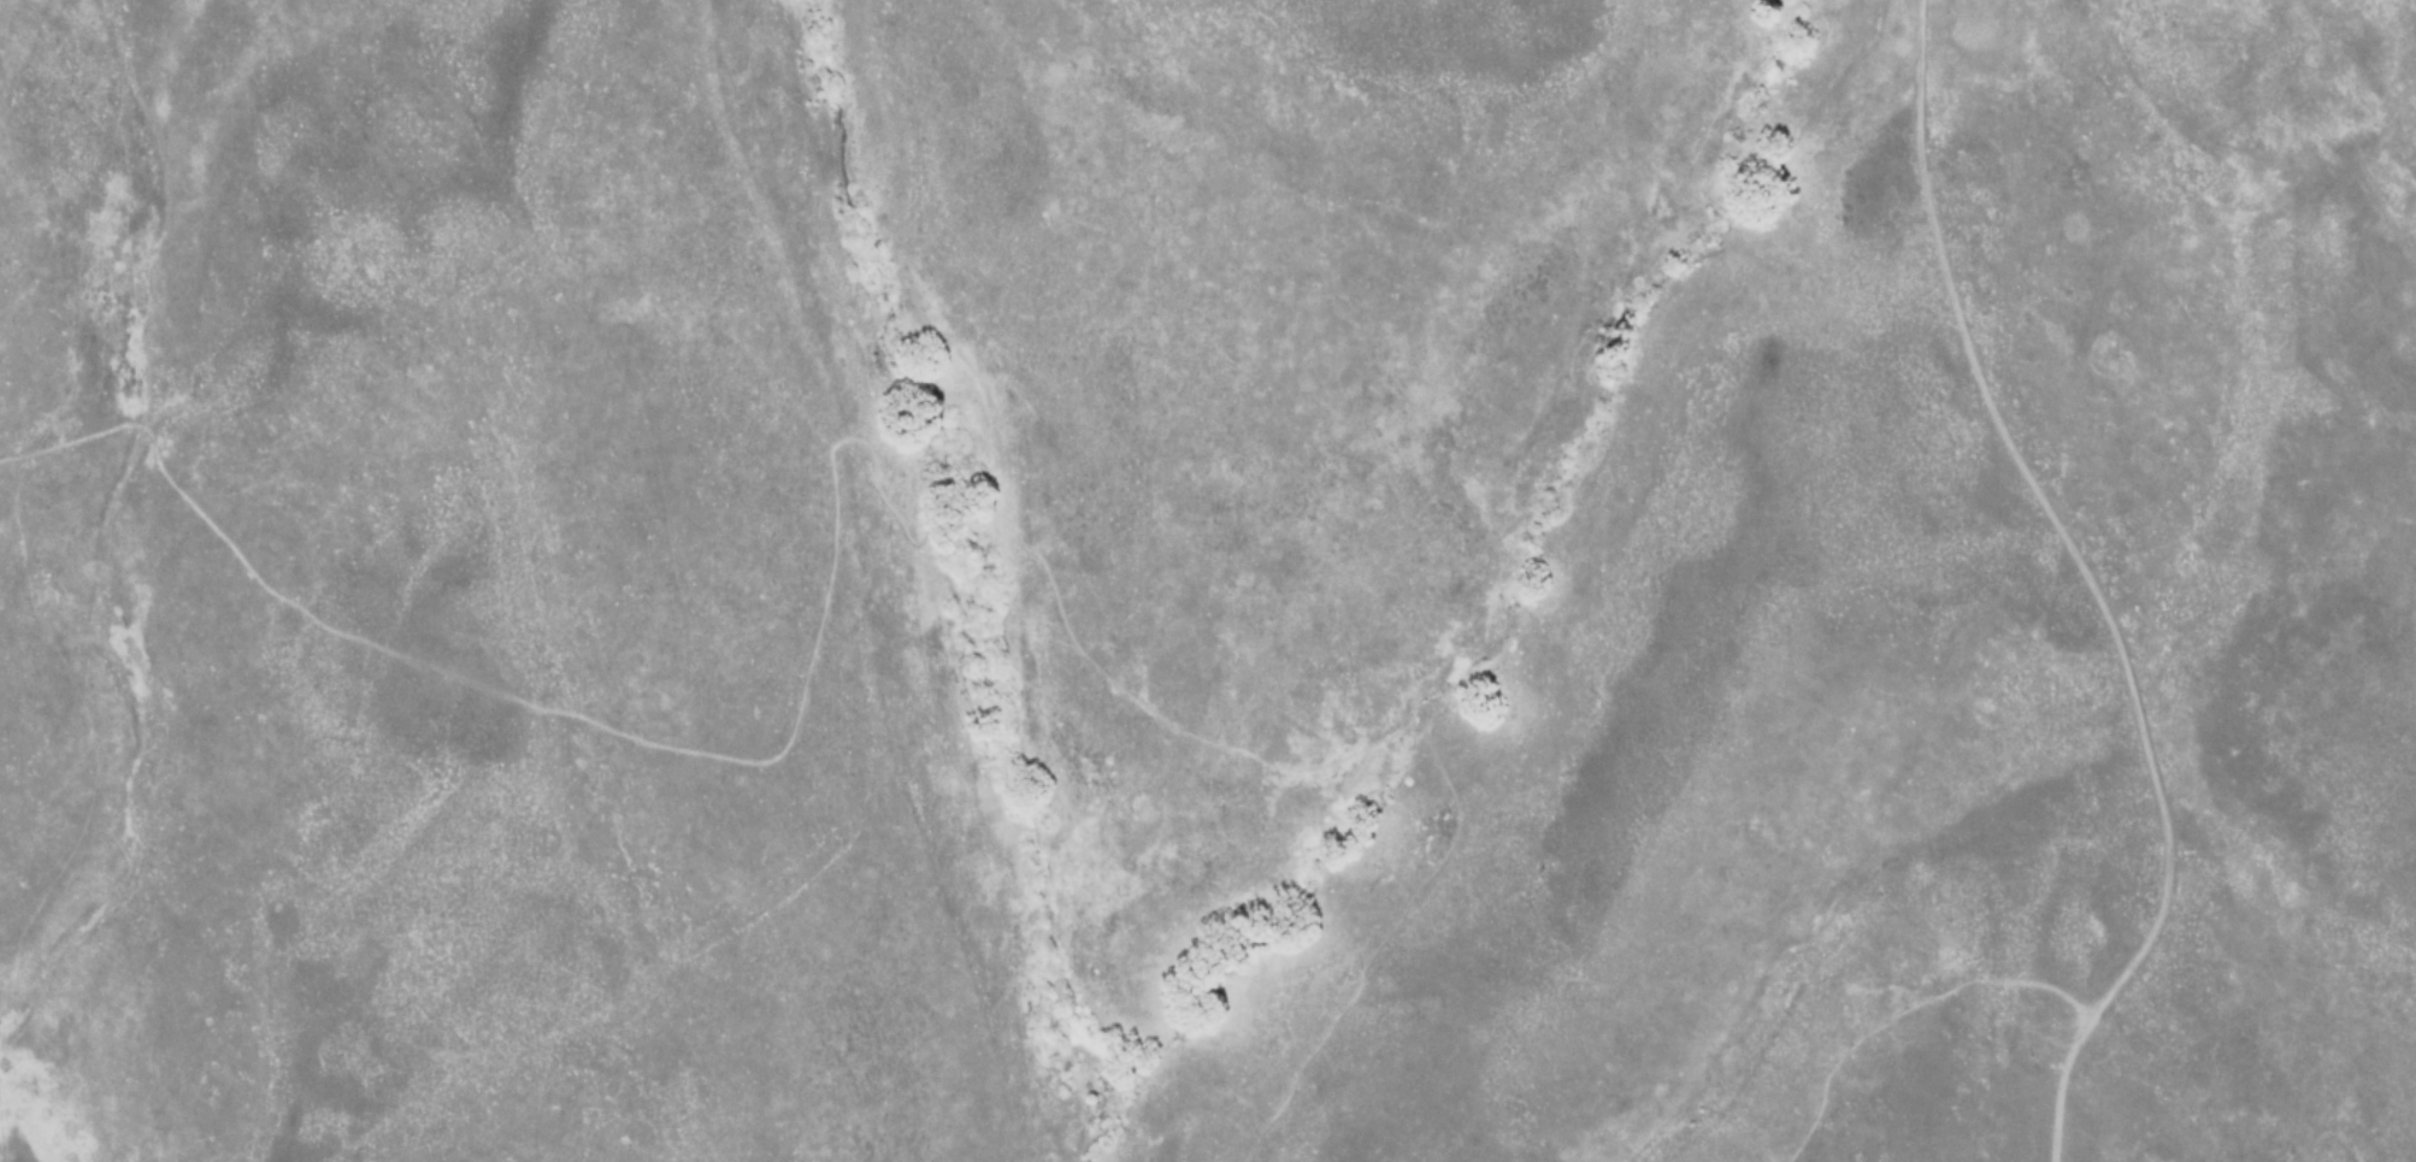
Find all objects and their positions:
road: (867, 449)
road: (2087, 584)

